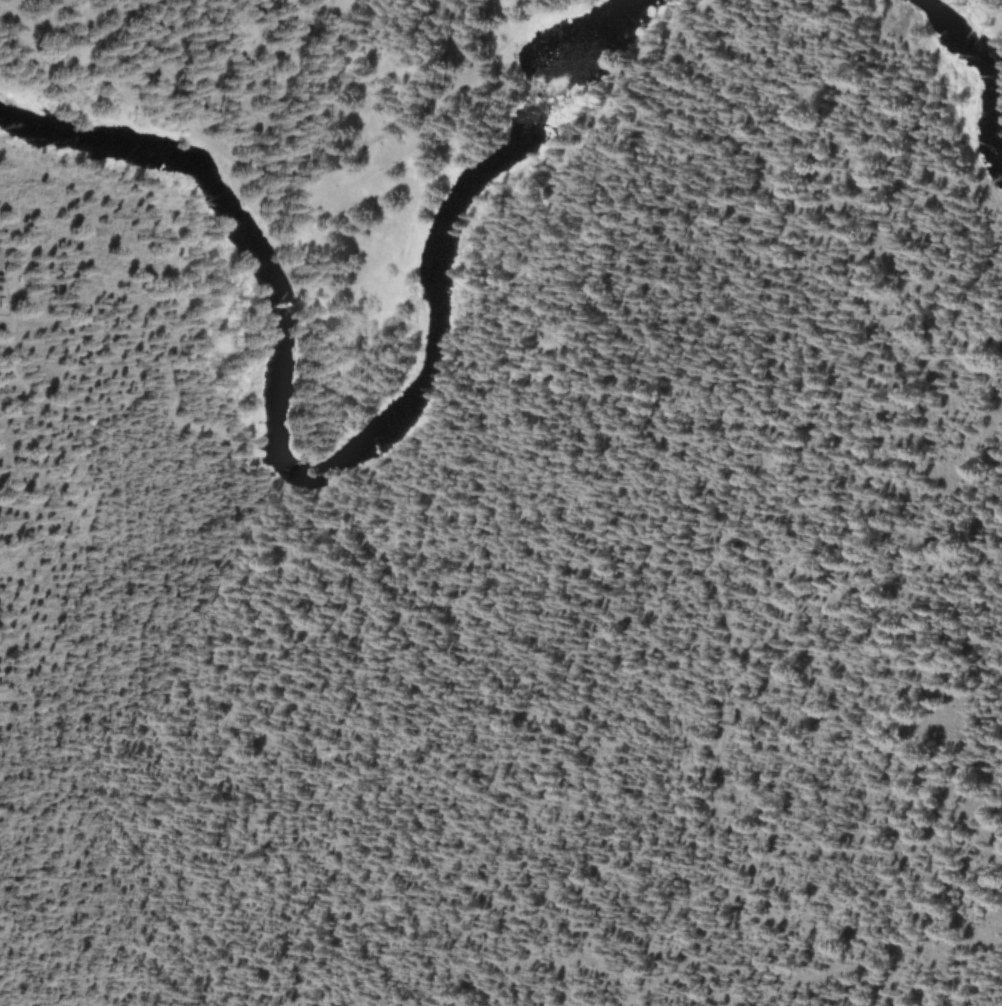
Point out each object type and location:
river: (971, 72)
road: (785, 186)
road: (274, 197)
road: (7, 278)
parking lot: (1, 286)
road: (28, 397)
river: (325, 449)
road: (484, 689)

